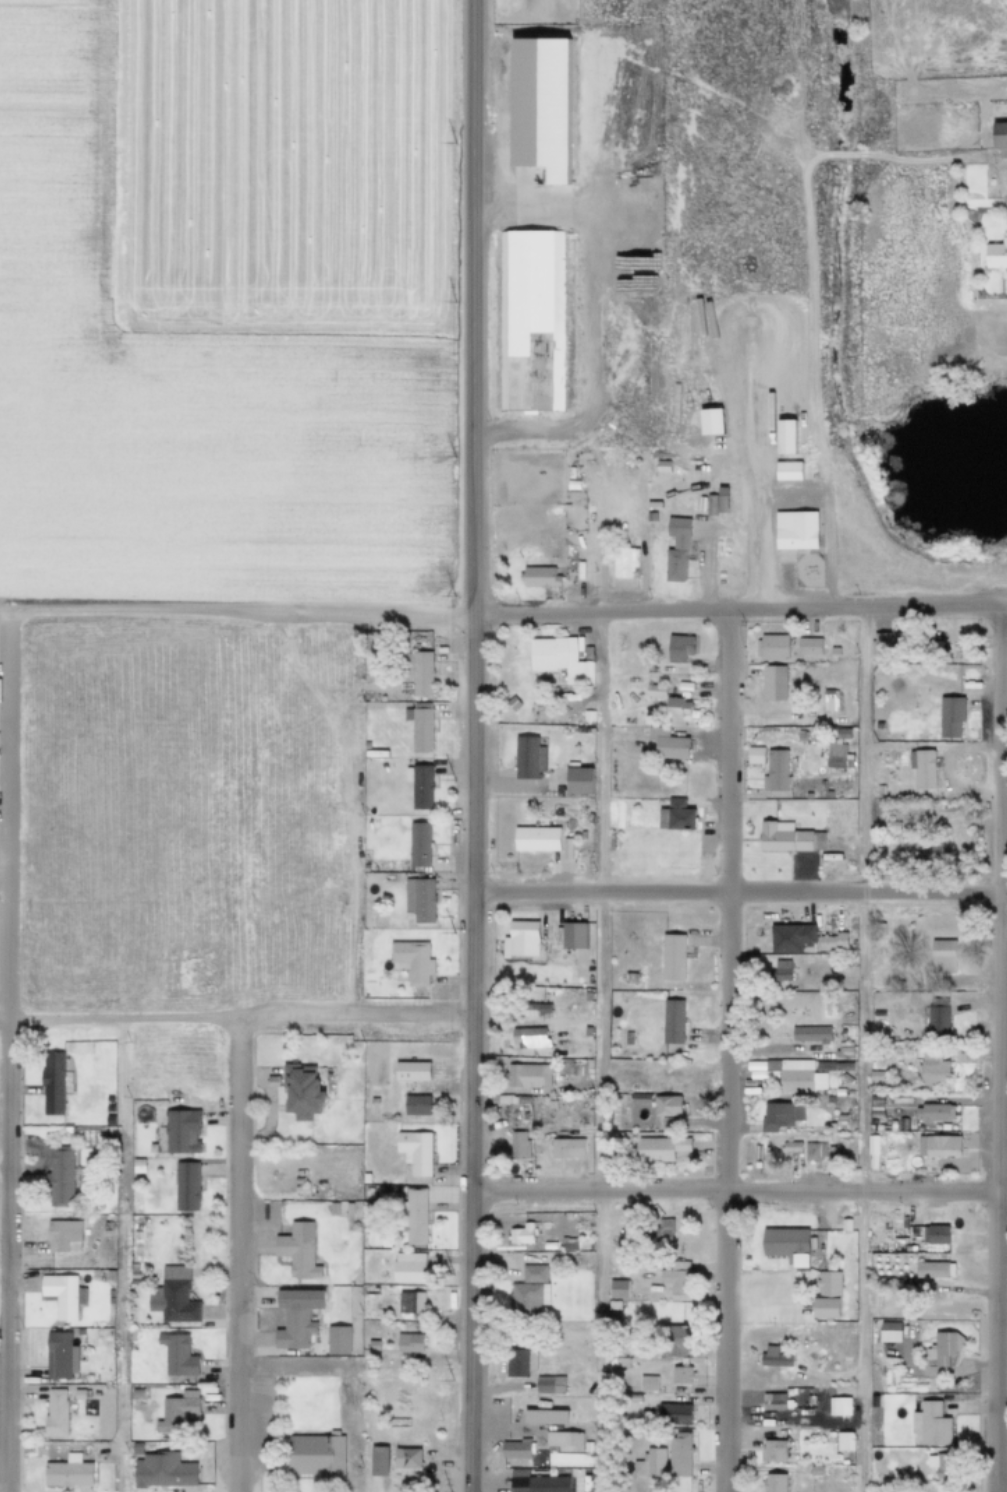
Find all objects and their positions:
building: (508, 69)
building: (552, 76)
building: (999, 137)
road: (118, 160)
crop: (290, 163)
road: (1002, 181)
building: (1004, 206)
building: (1004, 224)
building: (995, 255)
road: (471, 308)
building: (530, 320)
road: (587, 324)
crop: (183, 398)
building: (662, 466)
road: (732, 470)
building: (787, 471)
building: (726, 504)
building: (565, 507)
building: (650, 517)
road: (828, 524)
road: (738, 528)
building: (794, 530)
road: (600, 542)
building: (675, 550)
building: (624, 562)
building: (538, 577)
road: (1003, 607)
road: (802, 610)
road: (299, 613)
building: (880, 645)
building: (808, 646)
building: (772, 647)
building: (678, 648)
building: (834, 651)
road: (1003, 658)
building: (559, 660)
building: (421, 674)
building: (773, 683)
building: (655, 691)
building: (829, 699)
building: (677, 708)
building: (588, 716)
building: (950, 716)
building: (419, 727)
building: (788, 732)
building: (799, 736)
building: (811, 736)
building: (667, 744)
building: (754, 755)
building: (838, 756)
building: (528, 758)
building: (923, 769)
building: (775, 771)
building: (902, 772)
building: (576, 781)
building: (419, 786)
building: (879, 790)
road: (662, 792)
building: (675, 816)
building: (893, 827)
building: (572, 835)
building: (788, 838)
building: (535, 839)
building: (572, 843)
building: (419, 845)
building: (877, 845)
building: (928, 849)
road: (741, 894)
building: (419, 898)
building: (572, 934)
building: (520, 938)
building: (791, 938)
building: (832, 941)
building: (942, 955)
building: (673, 956)
building: (412, 960)
building: (848, 965)
building: (783, 970)
building: (630, 978)
building: (587, 997)
building: (535, 1009)
building: (878, 1013)
road: (237, 1017)
road: (537, 1021)
building: (672, 1021)
building: (935, 1021)
building: (587, 1032)
building: (810, 1034)
building: (628, 1037)
building: (527, 1038)
road: (5, 1050)
road: (863, 1050)
road: (598, 1051)
road: (724, 1051)
building: (841, 1051)
road: (997, 1051)
building: (941, 1052)
road: (474, 1053)
building: (821, 1066)
building: (844, 1066)
building: (563, 1069)
building: (931, 1070)
building: (761, 1075)
building: (522, 1076)
building: (794, 1076)
building: (873, 1076)
building: (845, 1082)
building: (51, 1084)
building: (750, 1085)
building: (297, 1091)
building: (847, 1091)
building: (752, 1092)
building: (105, 1099)
building: (521, 1100)
building: (827, 1100)
building: (892, 1100)
building: (837, 1102)
building: (655, 1104)
building: (413, 1105)
building: (549, 1105)
building: (105, 1109)
building: (931, 1113)
building: (777, 1116)
building: (839, 1117)
building: (106, 1121)
building: (889, 1124)
building: (900, 1125)
building: (908, 1126)
building: (942, 1127)
building: (877, 1128)
building: (916, 1128)
building: (828, 1129)
building: (883, 1129)
building: (64, 1131)
building: (178, 1131)
building: (107, 1134)
building: (869, 1144)
building: (935, 1146)
building: (515, 1147)
building: (789, 1147)
building: (148, 1148)
building: (564, 1149)
building: (657, 1149)
building: (412, 1151)
building: (819, 1153)
building: (135, 1167)
building: (55, 1176)
building: (363, 1178)
building: (184, 1186)
building: (299, 1189)
road: (739, 1190)
building: (366, 1193)
building: (331, 1208)
building: (339, 1208)
building: (346, 1208)
building: (411, 1216)
building: (660, 1231)
building: (520, 1233)
building: (875, 1234)
building: (933, 1235)
building: (59, 1236)
building: (85, 1237)
building: (566, 1245)
building: (783, 1245)
building: (295, 1250)
road: (234, 1254)
road: (119, 1255)
building: (133, 1256)
building: (406, 1268)
building: (931, 1269)
building: (191, 1273)
building: (133, 1274)
building: (89, 1275)
building: (102, 1276)
building: (673, 1278)
building: (616, 1290)
building: (658, 1290)
building: (527, 1292)
building: (60, 1295)
building: (824, 1296)
building: (171, 1302)
road: (761, 1302)
parking lot: (772, 1302)
building: (408, 1303)
building: (611, 1306)
building: (362, 1315)
building: (293, 1317)
building: (887, 1327)
building: (766, 1336)
building: (335, 1340)
building: (670, 1341)
building: (371, 1343)
building: (406, 1343)
building: (942, 1344)
building: (54, 1355)
building: (174, 1355)
building: (771, 1358)
road: (1002, 1361)
building: (517, 1362)
road: (349, 1373)
building: (678, 1374)
building: (645, 1384)
building: (546, 1385)
building: (91, 1393)
road: (1, 1394)
building: (134, 1394)
building: (76, 1395)
building: (872, 1402)
building: (769, 1403)
building: (838, 1406)
building: (173, 1413)
building: (52, 1414)
building: (671, 1415)
building: (544, 1417)
road: (792, 1420)
parking lot: (259, 1424)
building: (928, 1426)
building: (586, 1432)
building: (73, 1435)
building: (841, 1441)
building: (561, 1443)
road: (1, 1448)
building: (585, 1448)
building: (133, 1449)
building: (514, 1449)
building: (775, 1451)
building: (676, 1455)
building: (314, 1458)
building: (404, 1459)
building: (517, 1464)
building: (648, 1464)
building: (161, 1470)
building: (940, 1470)
building: (813, 1471)
building: (65, 1472)
building: (772, 1483)
building: (885, 1486)

